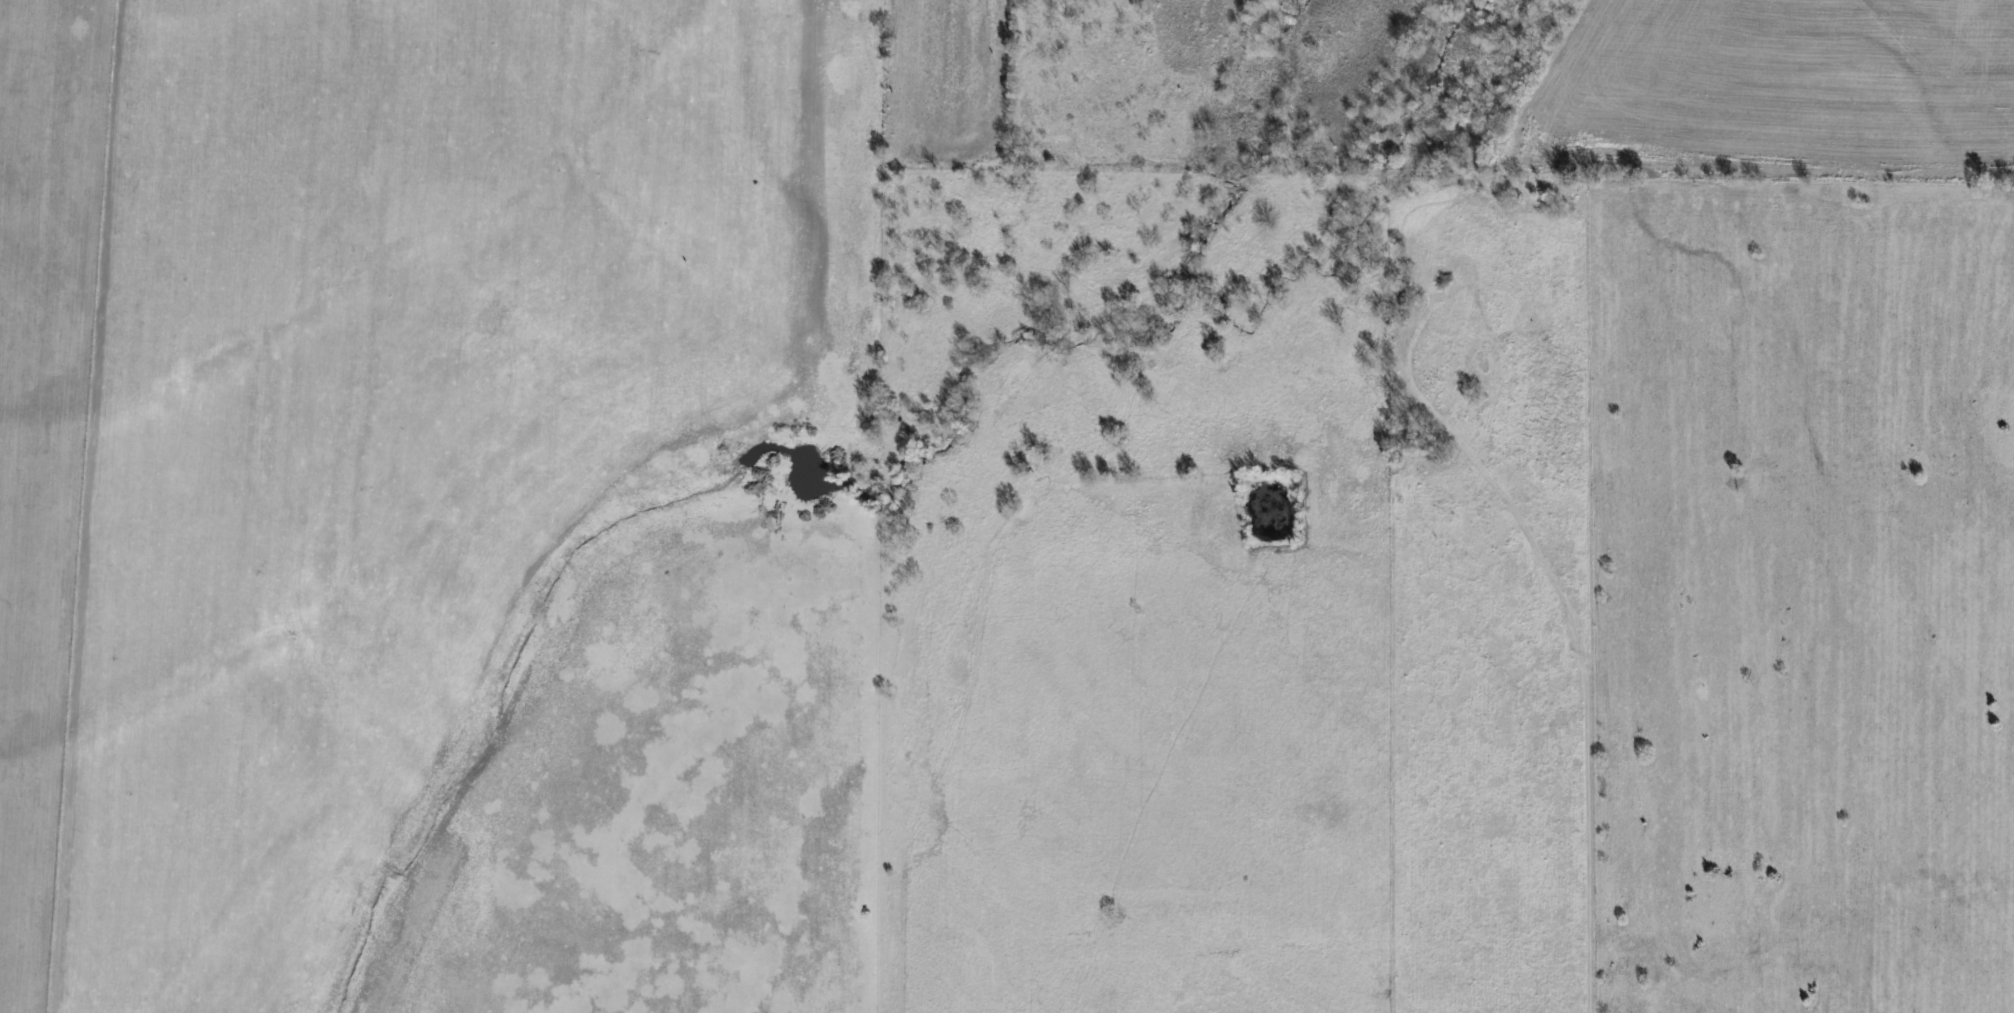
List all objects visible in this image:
airport runway: (1587, 614)

